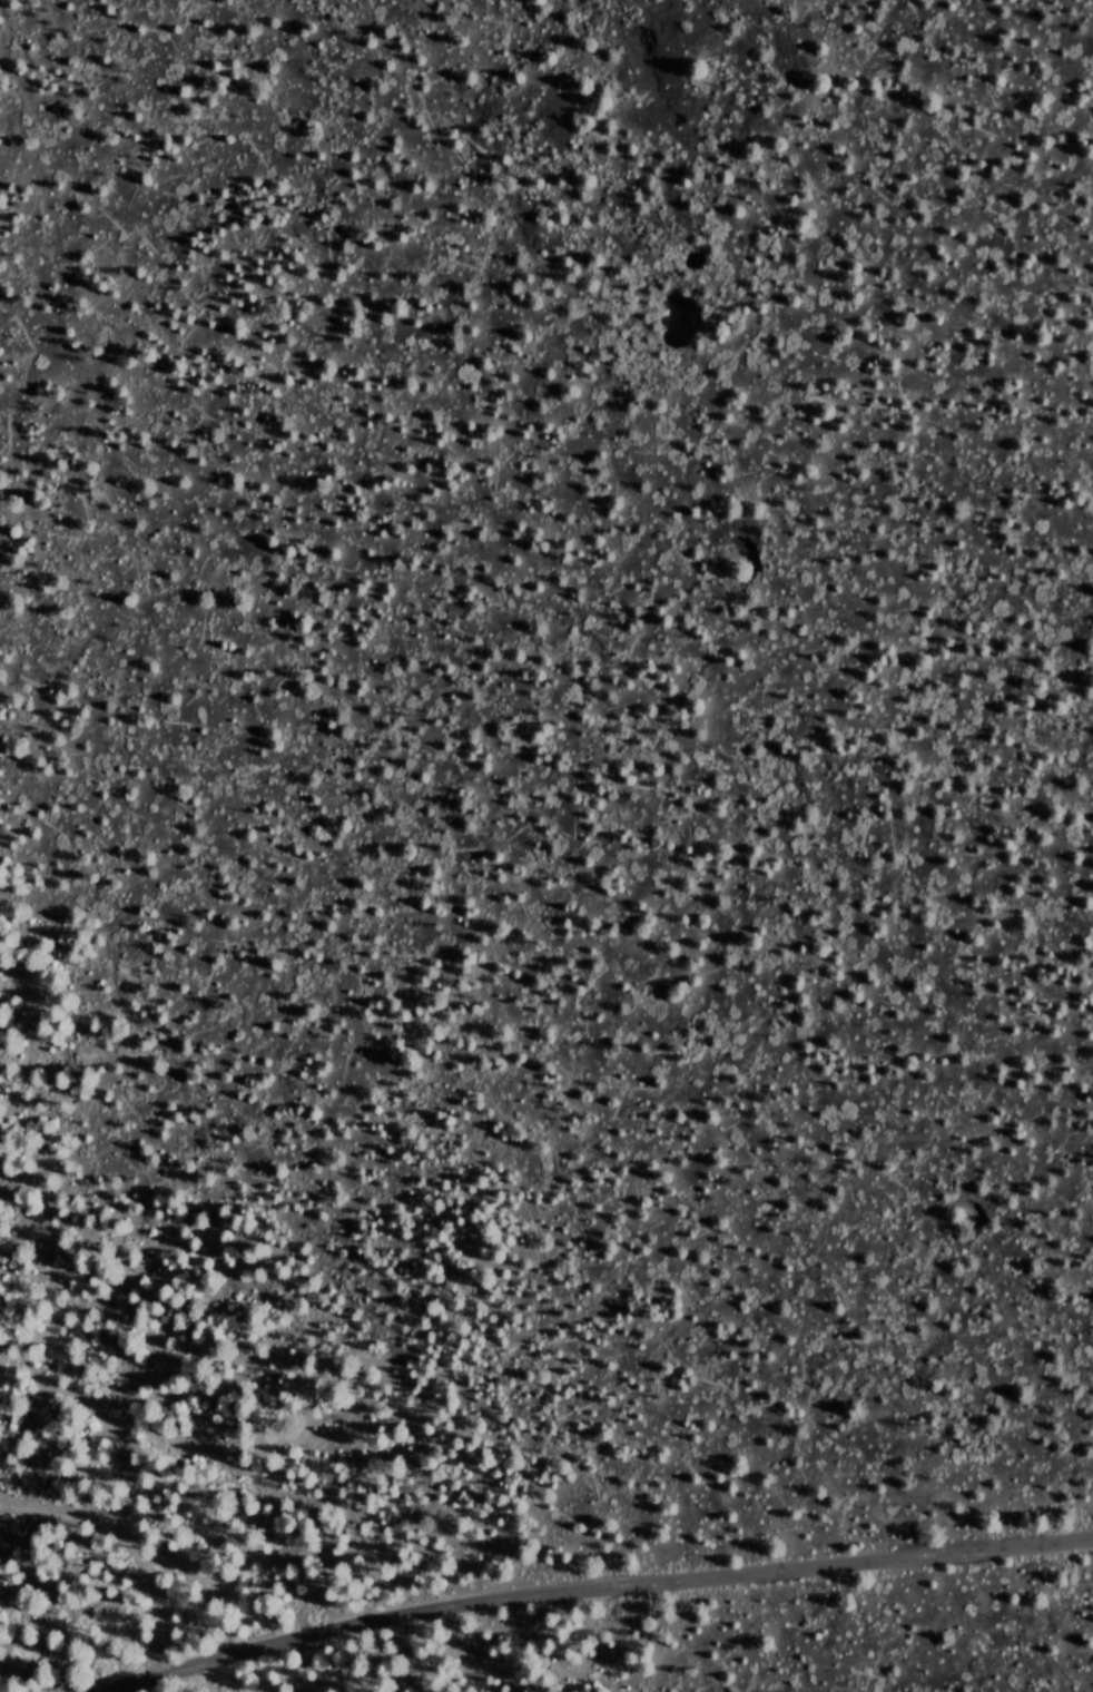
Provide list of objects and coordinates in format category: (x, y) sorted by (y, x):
road: (614, 1593)

